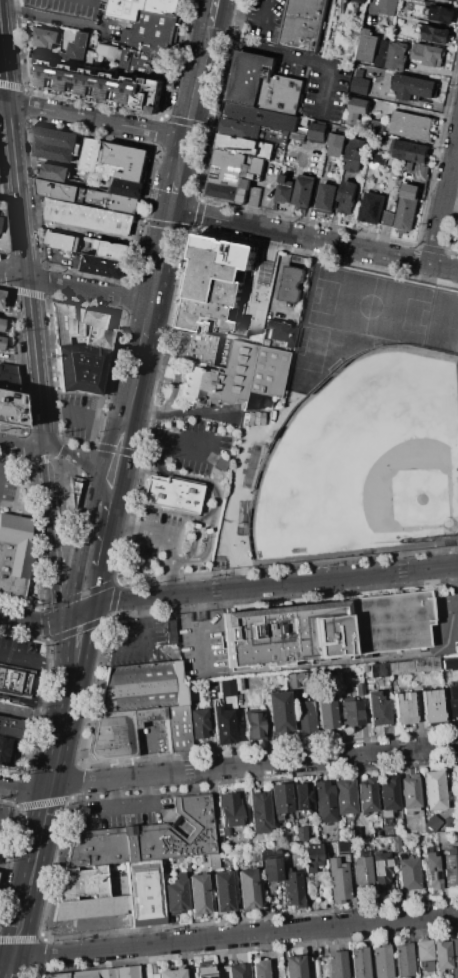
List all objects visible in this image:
building: (363, 0)
road: (214, 4)
building: (390, 4)
parking lot: (68, 7)
building: (143, 8)
building: (443, 13)
road: (250, 17)
road: (57, 19)
parking lot: (266, 20)
building: (305, 23)
building: (151, 33)
building: (436, 33)
building: (44, 38)
building: (80, 47)
building: (368, 47)
building: (428, 53)
building: (383, 54)
building: (398, 56)
road: (293, 57)
building: (145, 64)
road: (199, 73)
building: (252, 78)
building: (95, 83)
building: (360, 84)
building: (415, 86)
building: (285, 94)
road: (4, 102)
building: (359, 105)
building: (261, 115)
building: (353, 117)
road: (96, 121)
building: (411, 125)
building: (374, 126)
building: (237, 127)
building: (318, 130)
building: (275, 133)
building: (297, 136)
building: (338, 140)
building: (52, 146)
building: (245, 146)
road: (184, 150)
building: (411, 150)
building: (356, 154)
building: (373, 157)
building: (114, 162)
building: (258, 165)
building: (409, 165)
building: (228, 167)
building: (425, 169)
building: (246, 170)
road: (180, 171)
building: (55, 174)
building: (285, 189)
building: (126, 190)
building: (224, 190)
building: (304, 191)
building: (243, 194)
road: (175, 195)
building: (253, 195)
building: (327, 196)
building: (86, 197)
building: (348, 197)
road: (446, 204)
building: (373, 207)
building: (408, 207)
traffic signals: (173, 209)
building: (88, 215)
building: (387, 218)
road: (24, 235)
road: (315, 238)
building: (1, 242)
building: (61, 243)
building: (112, 253)
road: (162, 257)
building: (103, 268)
building: (218, 285)
building: (292, 285)
road: (76, 288)
building: (1, 295)
road: (148, 321)
building: (1, 324)
building: (81, 325)
building: (281, 333)
building: (1, 342)
building: (192, 349)
road: (18, 359)
building: (80, 367)
building: (7, 377)
building: (237, 379)
road: (134, 381)
building: (11, 412)
road: (181, 413)
road: (83, 416)
parking lot: (79, 418)
road: (161, 439)
road: (108, 443)
parking lot: (192, 446)
road: (20, 447)
road: (1, 449)
road: (61, 452)
park: (363, 463)
road: (90, 465)
road: (125, 466)
parking lot: (9, 482)
building: (72, 490)
road: (217, 492)
building: (173, 494)
road: (45, 516)
road: (196, 529)
parking lot: (154, 532)
road: (99, 538)
road: (110, 538)
road: (169, 538)
building: (17, 554)
road: (227, 591)
road: (55, 603)
road: (66, 619)
building: (388, 622)
building: (285, 633)
road: (144, 638)
parking lot: (143, 642)
road: (30, 660)
building: (455, 662)
building: (448, 663)
road: (339, 665)
building: (426, 665)
building: (365, 668)
building: (400, 668)
building: (378, 669)
road: (81, 671)
building: (298, 678)
building: (15, 682)
building: (177, 685)
road: (66, 686)
building: (136, 687)
building: (360, 689)
building: (452, 692)
road: (27, 701)
building: (431, 706)
building: (453, 708)
building: (377, 709)
building: (402, 709)
building: (278, 712)
building: (326, 712)
building: (351, 713)
building: (147, 715)
building: (303, 717)
road: (25, 719)
building: (199, 723)
building: (253, 724)
building: (222, 725)
building: (11, 727)
building: (177, 727)
building: (112, 735)
building: (6, 751)
road: (228, 767)
building: (457, 782)
road: (50, 789)
building: (433, 790)
building: (410, 791)
building: (388, 792)
building: (367, 795)
building: (302, 796)
building: (345, 797)
building: (280, 798)
building: (324, 802)
road: (132, 805)
road: (106, 808)
building: (230, 809)
building: (260, 811)
road: (20, 828)
road: (41, 828)
building: (301, 834)
building: (147, 838)
building: (396, 843)
building: (342, 848)
building: (267, 853)
building: (252, 855)
building: (312, 856)
building: (180, 860)
building: (213, 861)
building: (266, 864)
building: (450, 867)
building: (361, 870)
building: (381, 871)
building: (431, 871)
building: (408, 873)
building: (339, 879)
building: (83, 883)
building: (247, 889)
building: (293, 889)
building: (222, 892)
building: (144, 893)
building: (175, 895)
building: (197, 895)
road: (23, 905)
building: (93, 908)
road: (228, 938)
building: (441, 954)
building: (424, 955)
building: (454, 956)
building: (405, 960)
building: (382, 961)
building: (359, 963)
building: (337, 964)
building: (293, 966)
road: (9, 969)
building: (260, 969)
building: (232, 971)
building: (126, 972)
building: (203, 972)
building: (106, 973)
building: (81, 974)
building: (167, 974)
building: (52, 976)

